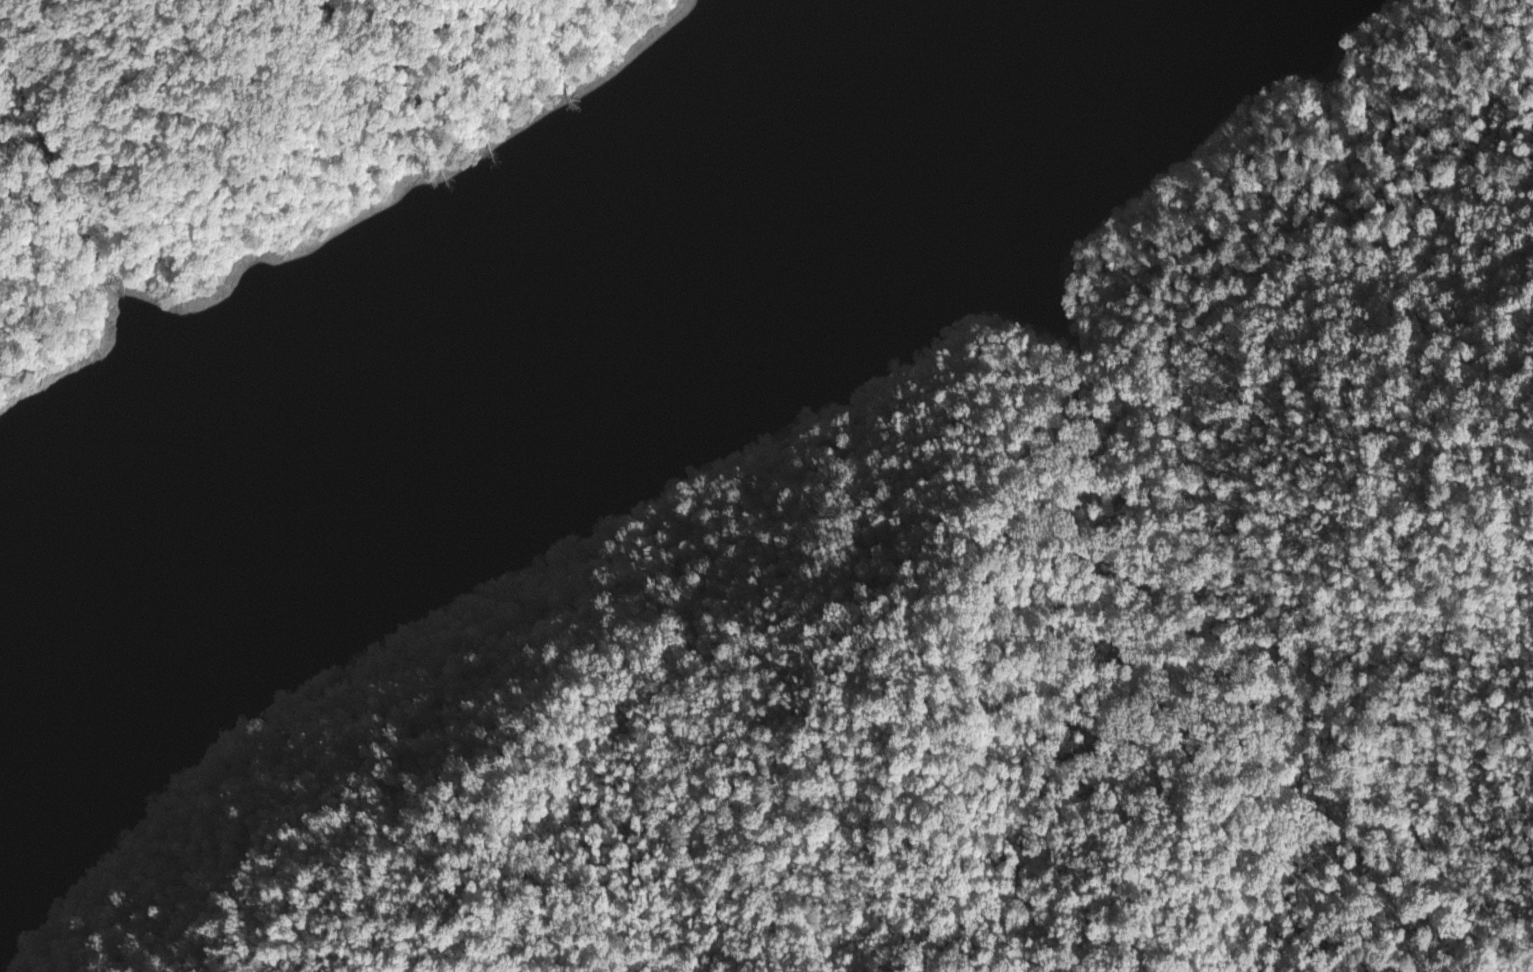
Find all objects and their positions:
river: (519, 339)

